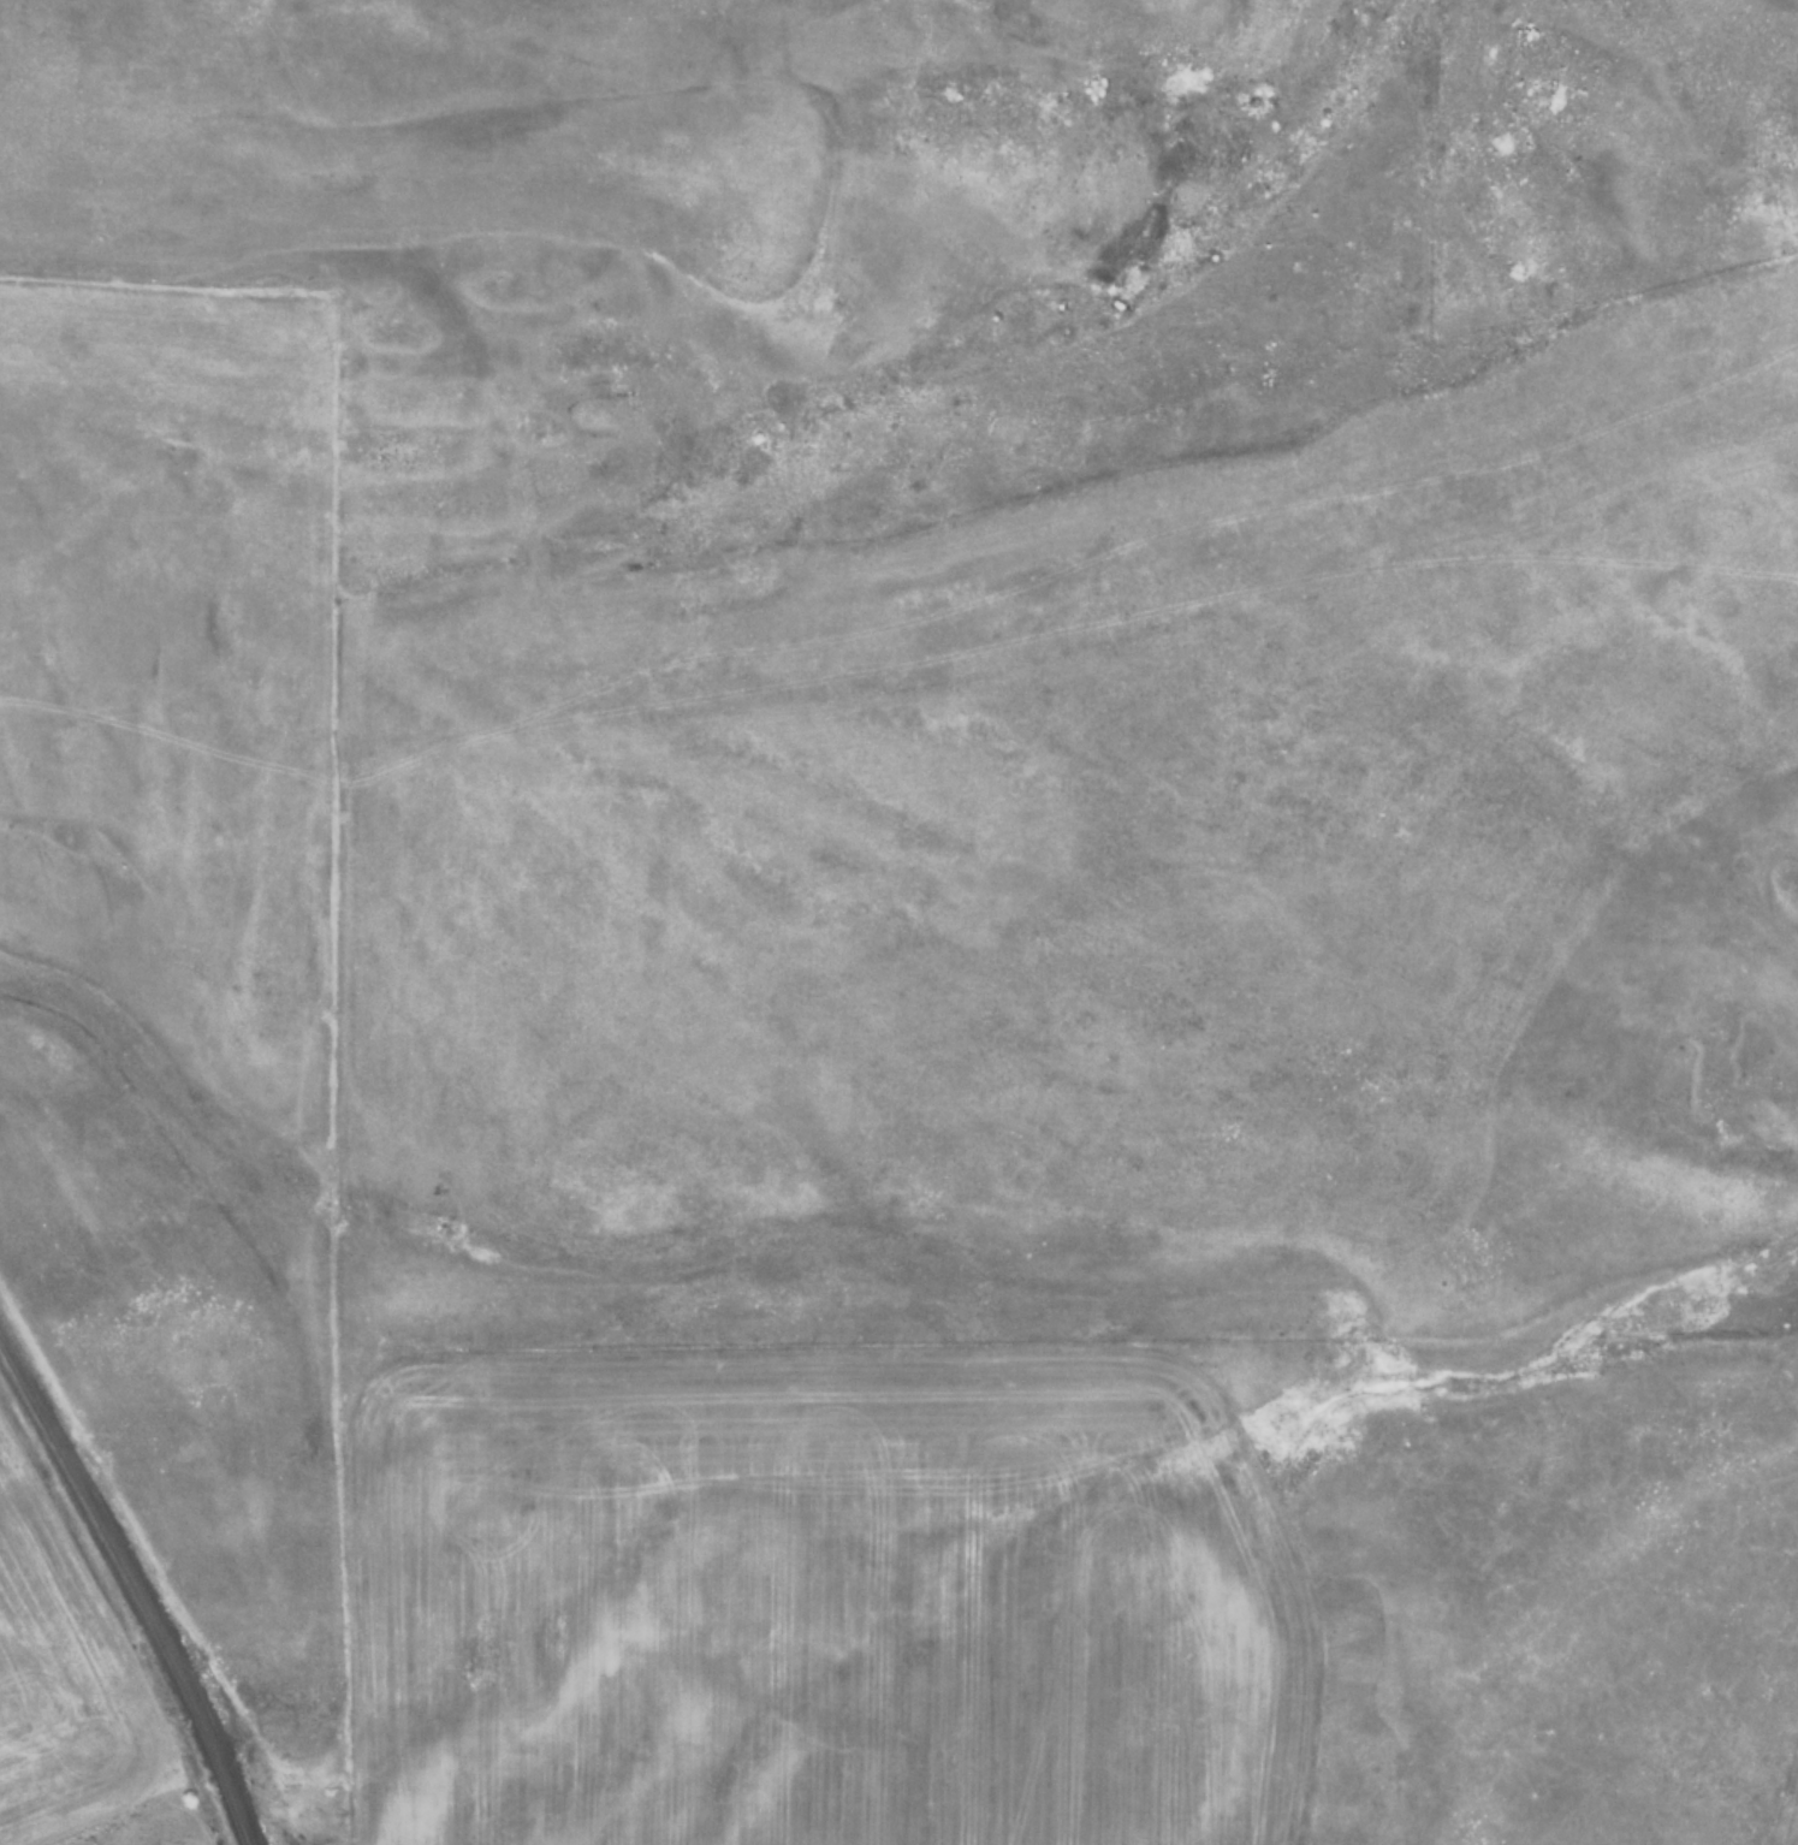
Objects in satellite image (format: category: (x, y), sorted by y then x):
road: (136, 1586)

